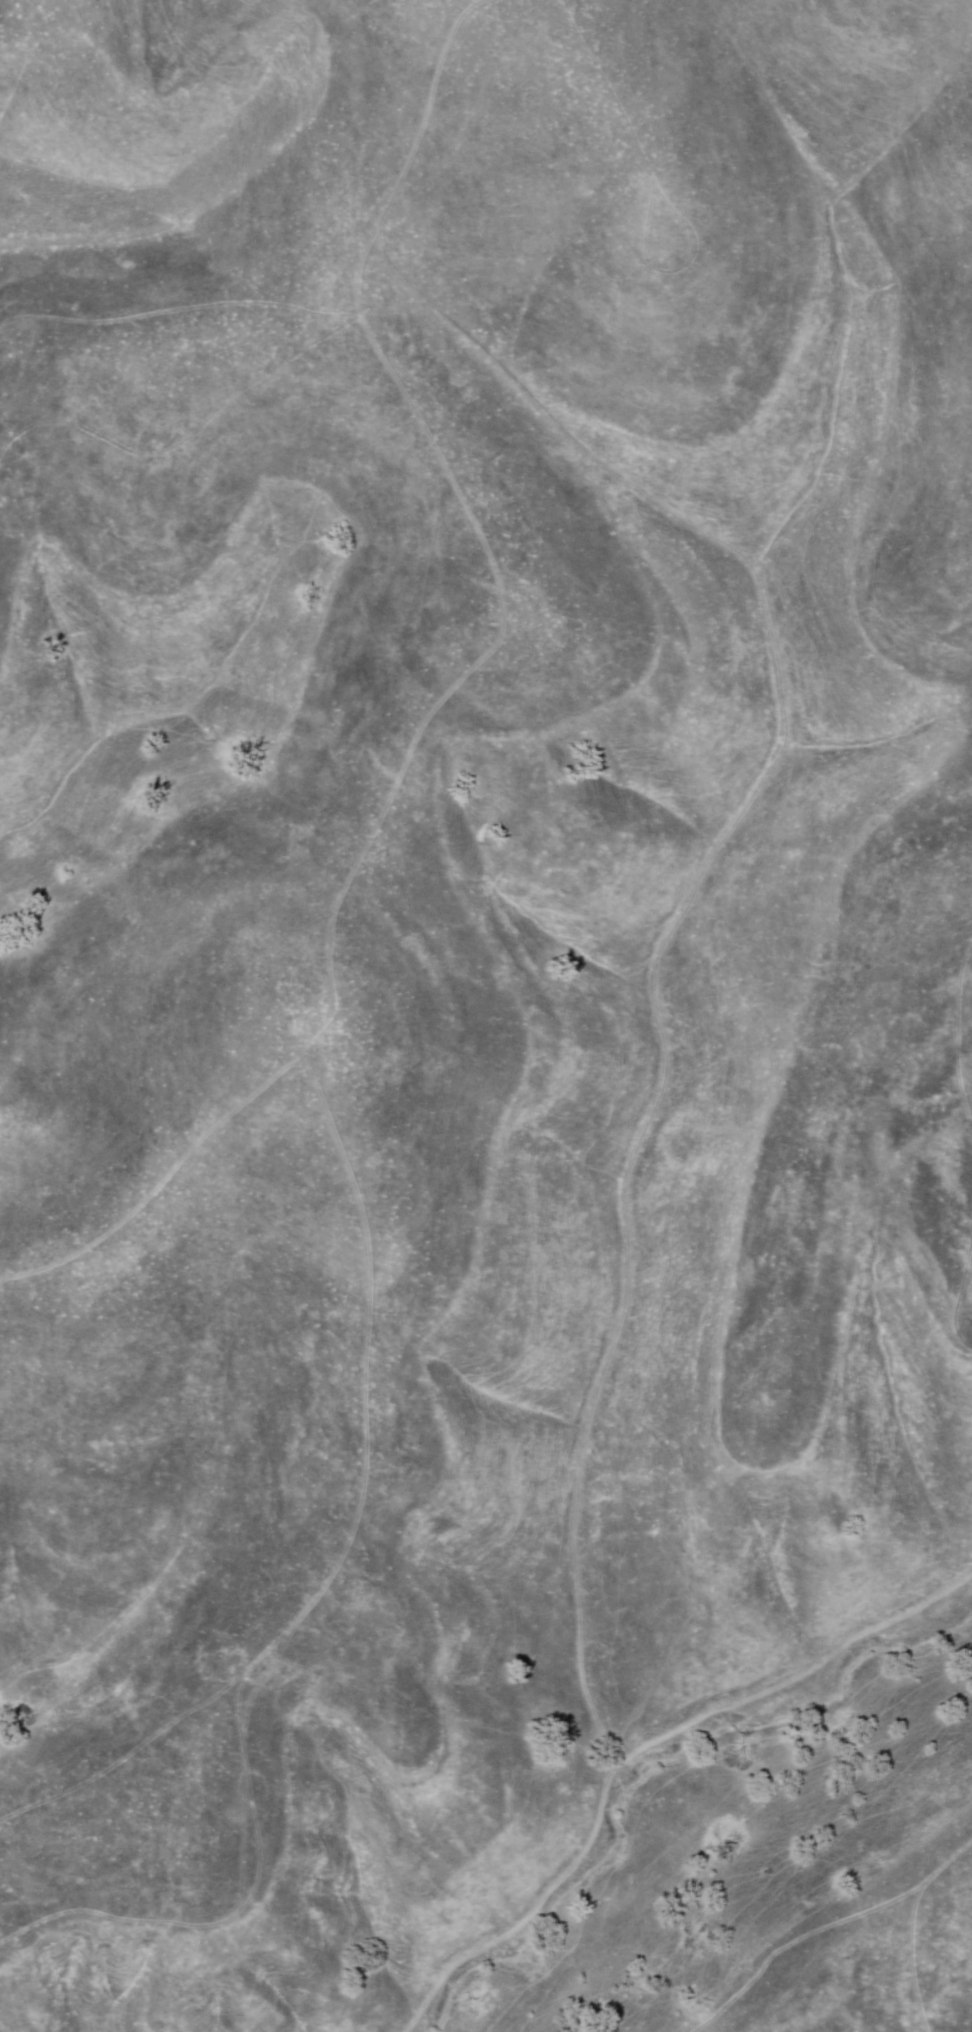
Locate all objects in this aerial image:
road: (632, 1743)

